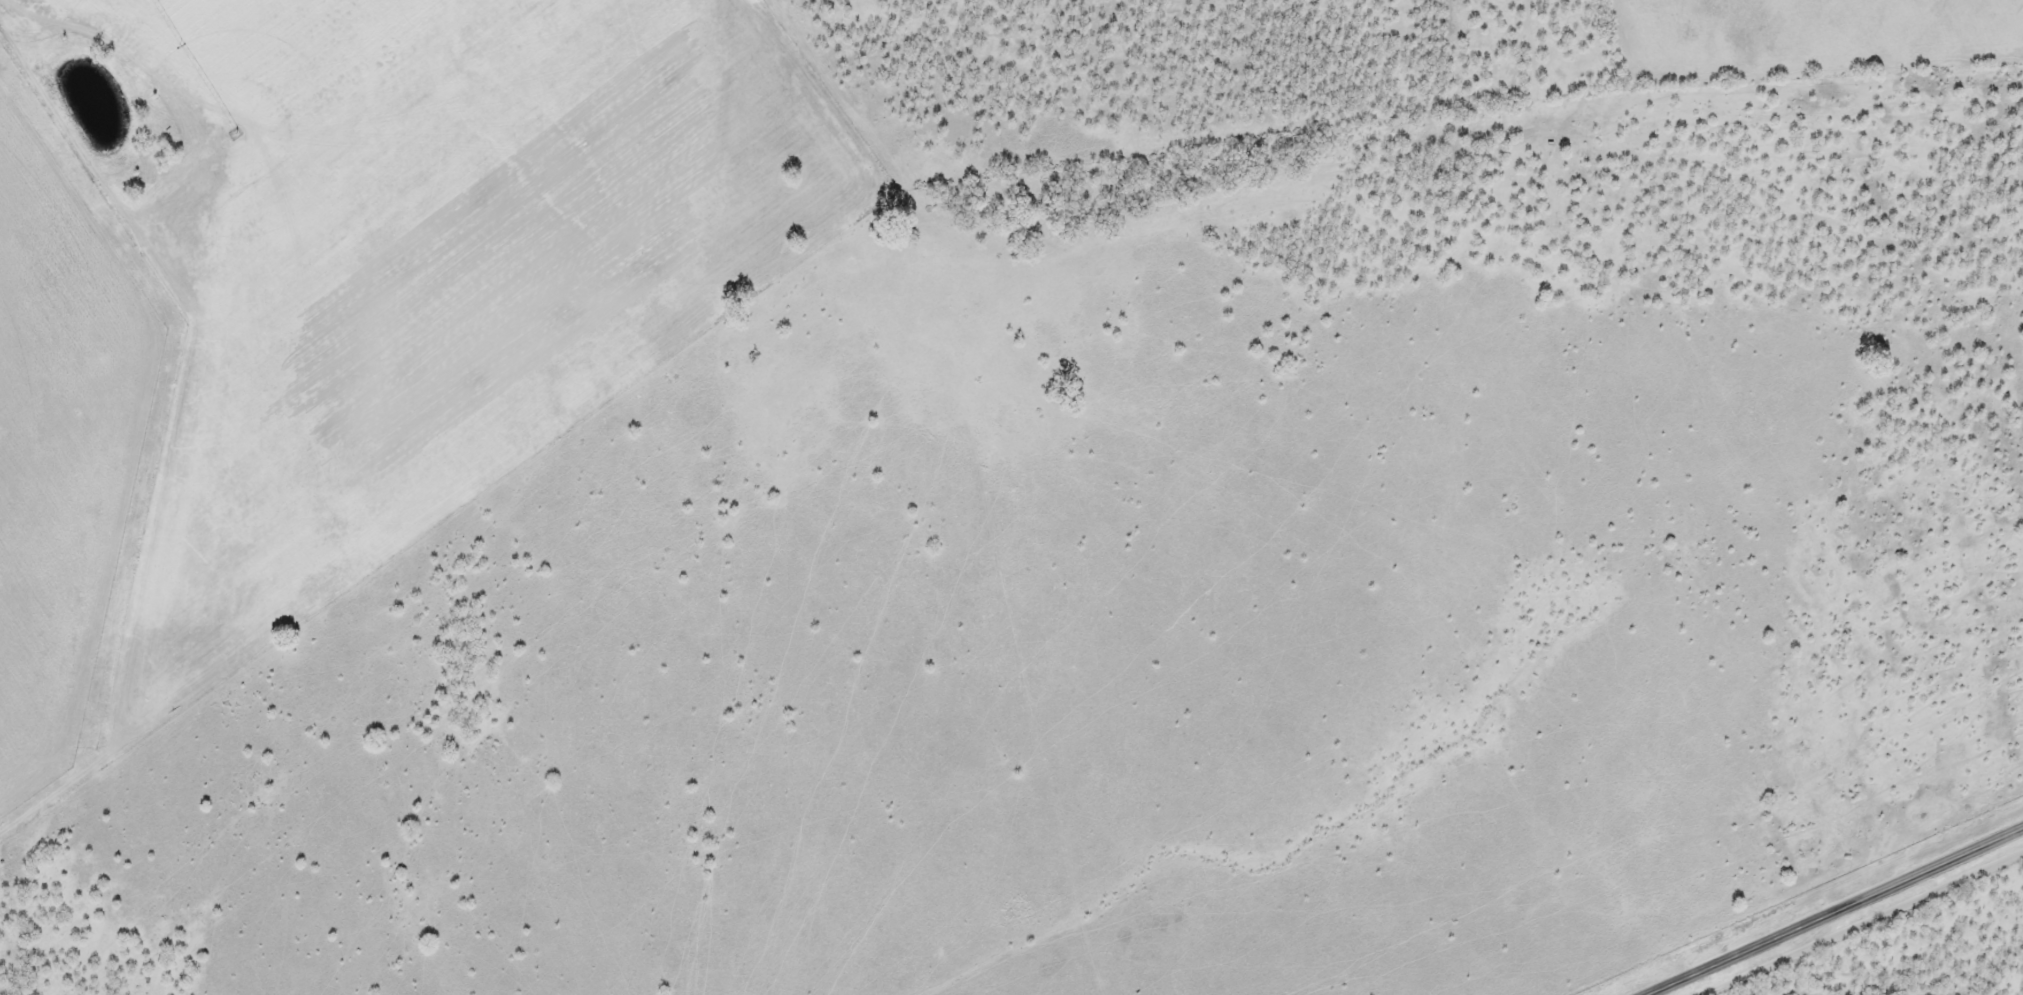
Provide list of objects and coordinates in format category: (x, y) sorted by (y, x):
road: (1833, 910)

